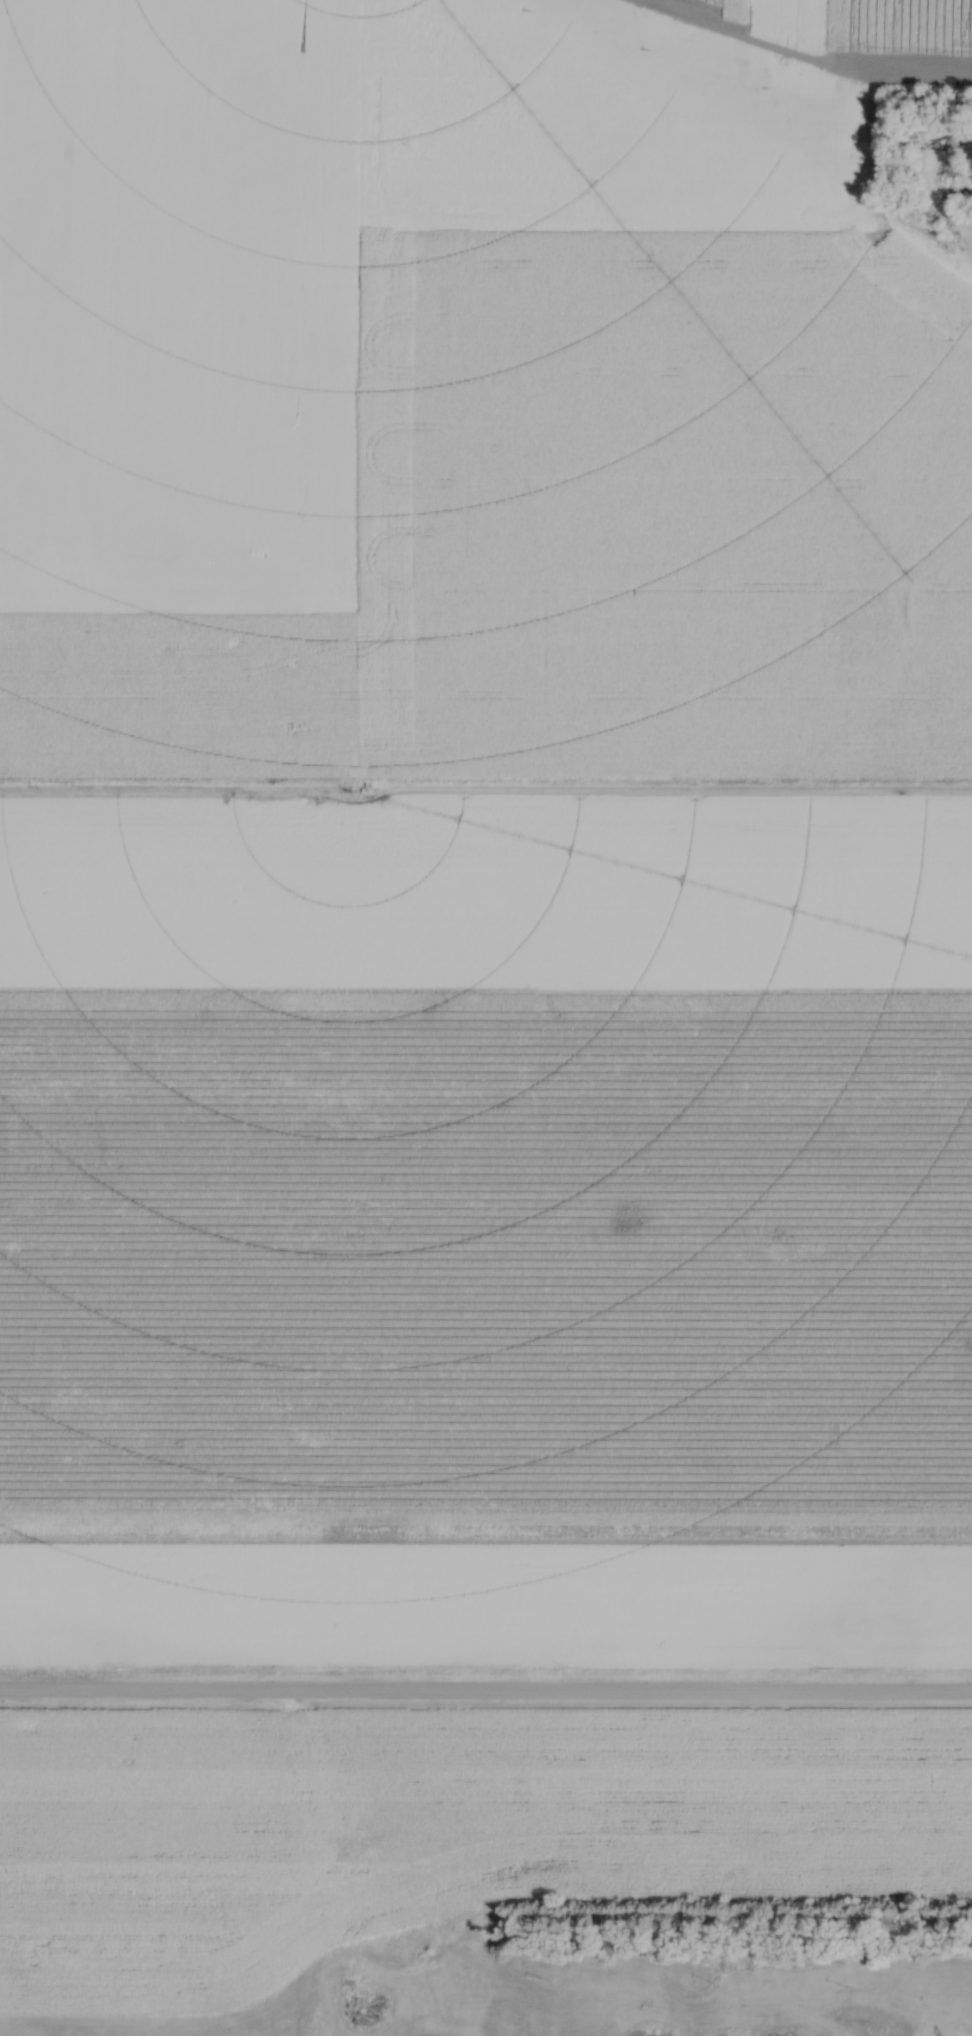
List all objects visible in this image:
road: (485, 1694)

